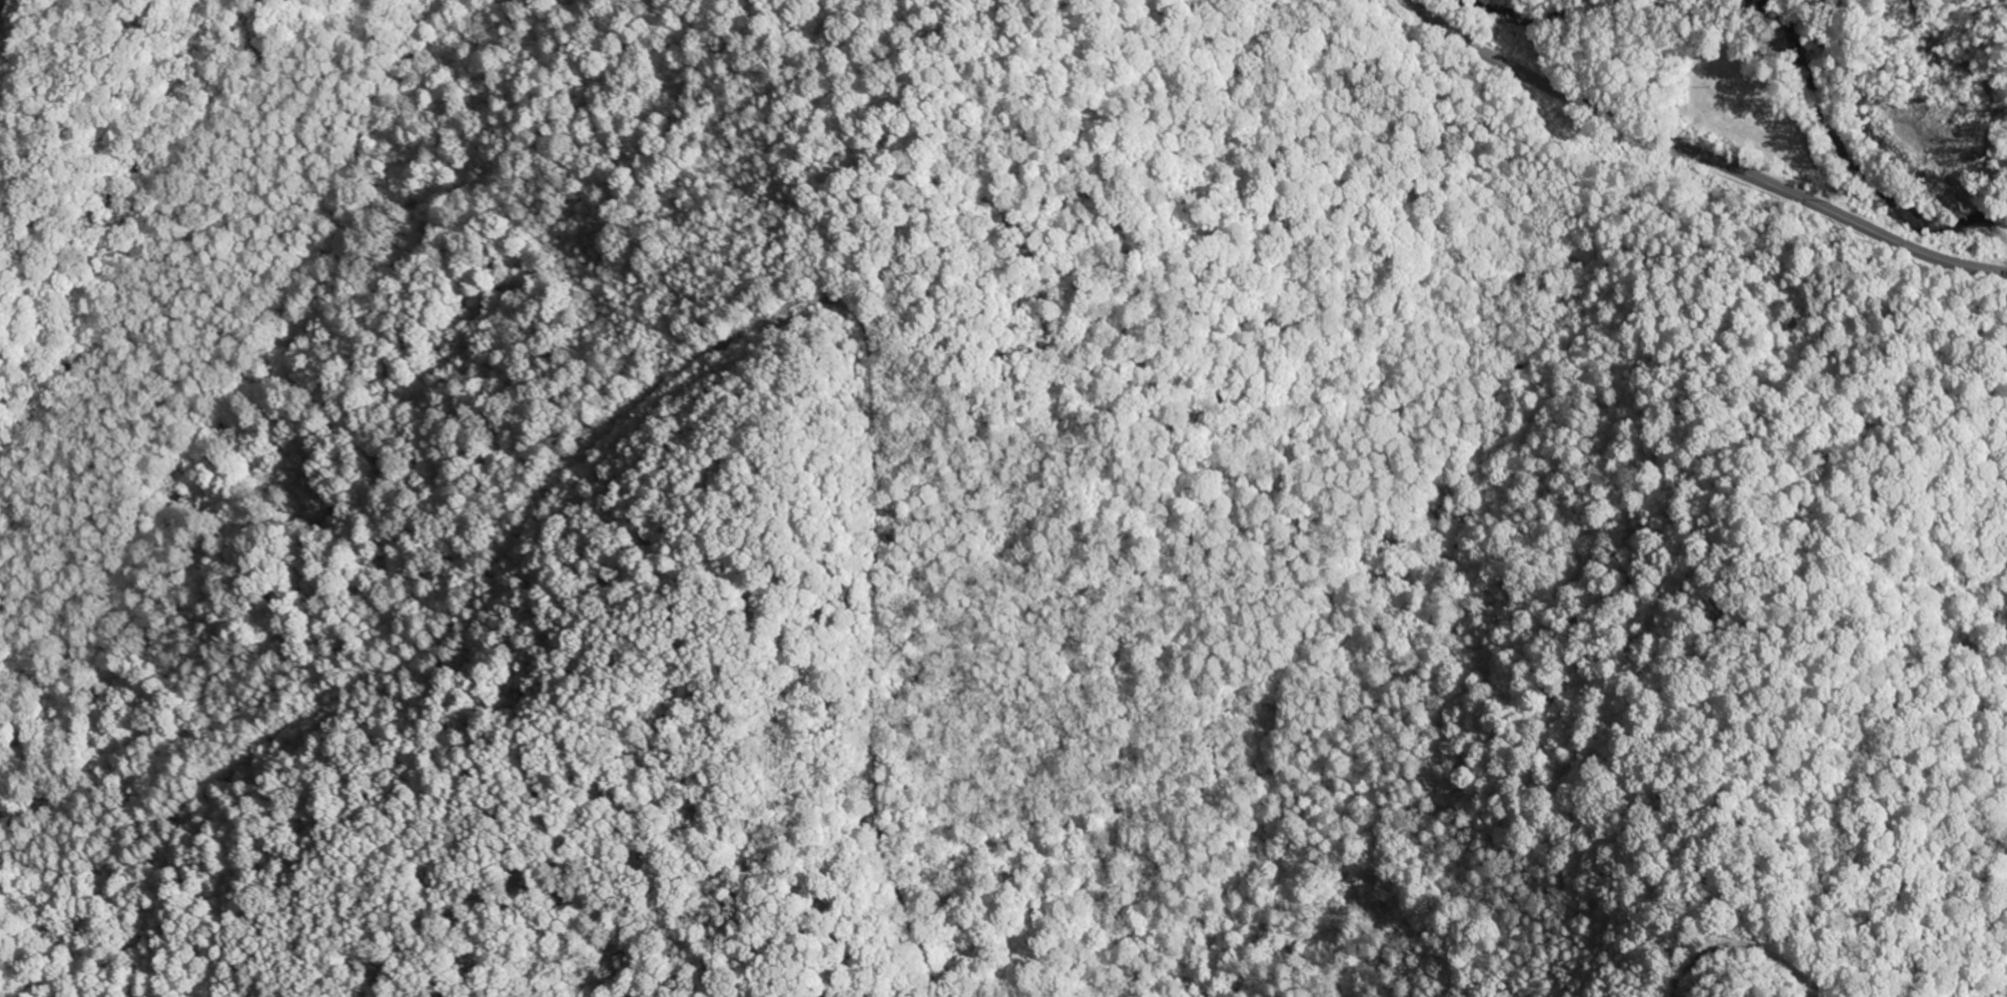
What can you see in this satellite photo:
road: (1795, 155)

